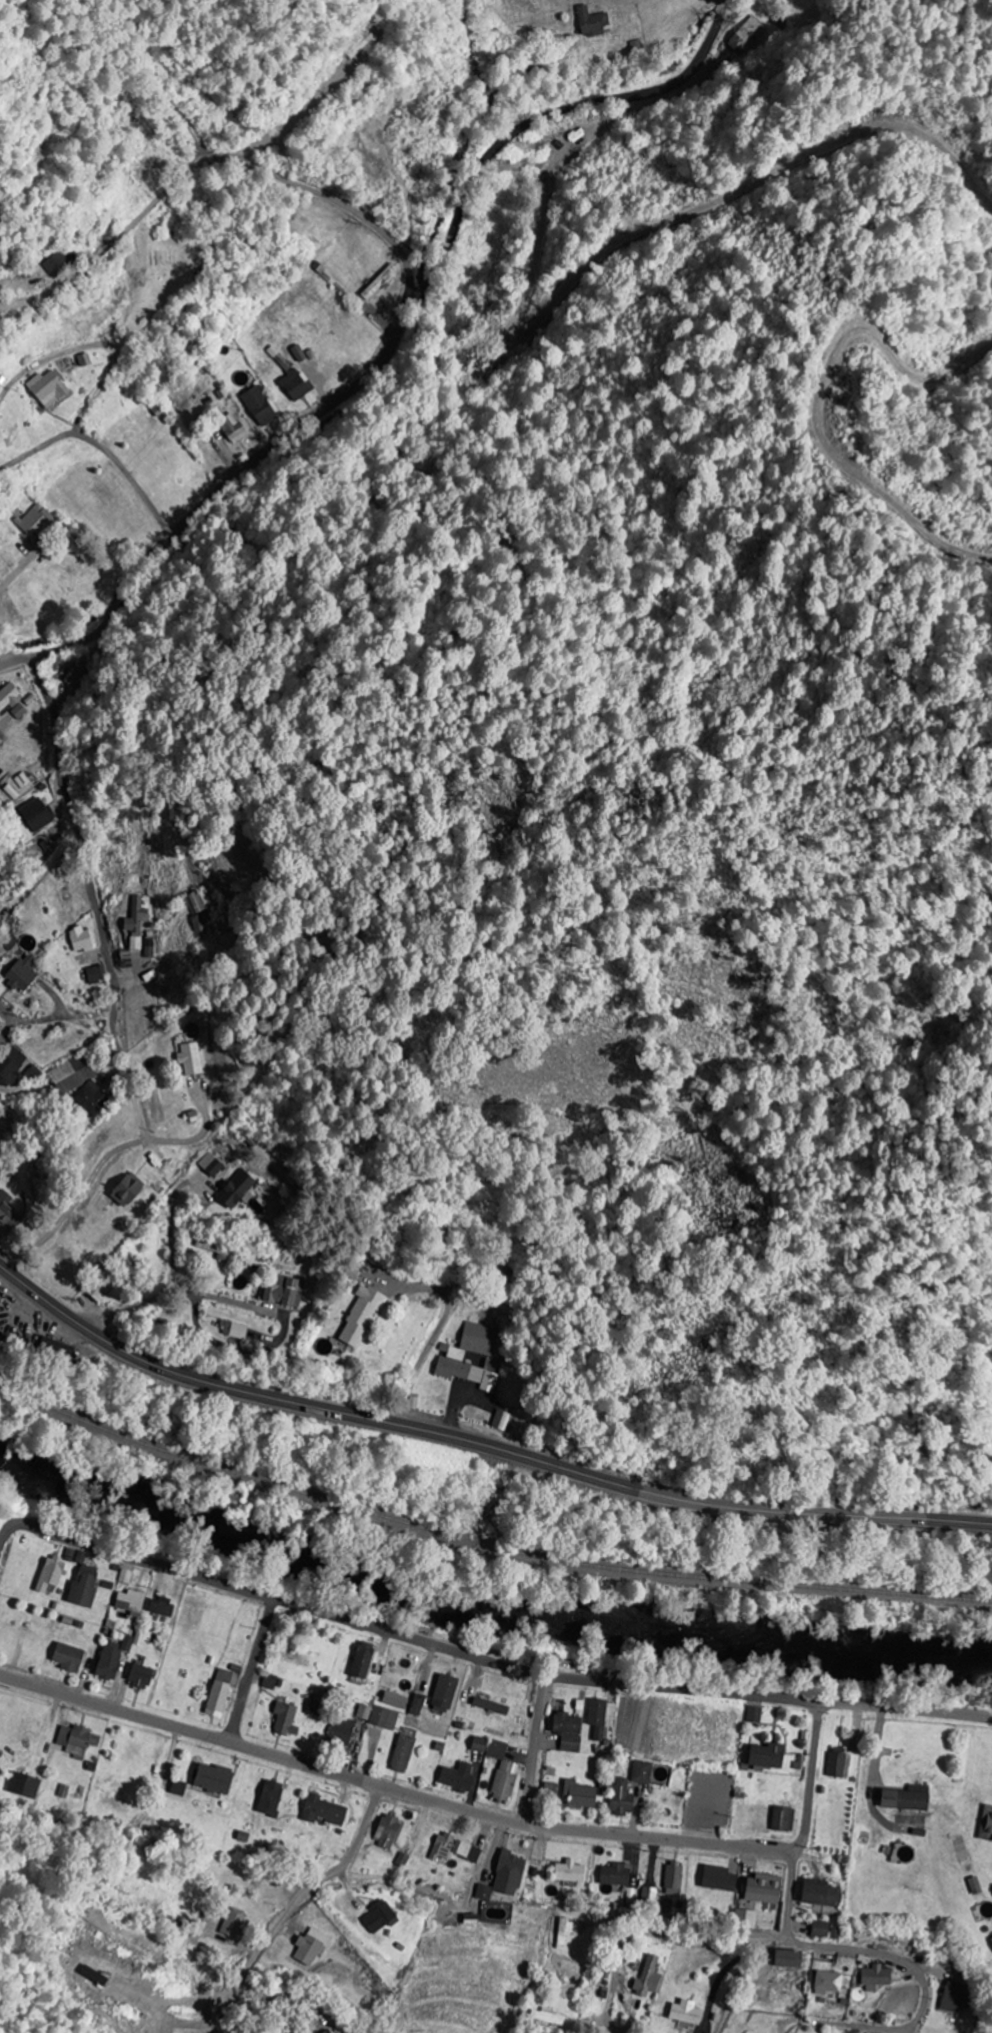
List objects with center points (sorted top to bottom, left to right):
building: (590, 21)
building: (748, 35)
building: (357, 47)
road: (545, 115)
road: (205, 164)
building: (57, 264)
building: (379, 281)
building: (294, 384)
building: (47, 388)
building: (258, 406)
building: (231, 428)
road: (215, 494)
road: (149, 506)
building: (36, 521)
road: (7, 639)
building: (78, 676)
building: (7, 696)
building: (19, 711)
building: (23, 780)
building: (37, 815)
building: (195, 902)
building: (0, 907)
building: (135, 922)
building: (198, 924)
road: (103, 933)
building: (82, 939)
building: (149, 947)
building: (20, 974)
building: (96, 974)
road: (10, 1023)
building: (188, 1059)
building: (10, 1066)
building: (32, 1074)
building: (79, 1085)
building: (0, 1170)
building: (125, 1189)
building: (236, 1190)
building: (7, 1211)
building: (217, 1249)
building: (103, 1282)
building: (282, 1292)
building: (359, 1317)
building: (233, 1330)
road: (429, 1348)
building: (51, 1352)
building: (451, 1357)
building: (500, 1420)
road: (480, 1445)
railway: (483, 1543)
building: (50, 1574)
building: (83, 1586)
building: (131, 1602)
building: (160, 1607)
river: (488, 1613)
road: (401, 1637)
building: (132, 1641)
building: (67, 1657)
building: (361, 1660)
building: (107, 1662)
road: (253, 1671)
building: (138, 1676)
building: (269, 1682)
building: (219, 1693)
building: (444, 1693)
building: (394, 1700)
building: (416, 1705)
building: (489, 1706)
road: (907, 1708)
building: (364, 1712)
building: (753, 1715)
building: (600, 1717)
building: (384, 1718)
building: (286, 1719)
building: (566, 1724)
building: (341, 1733)
building: (78, 1740)
building: (570, 1743)
building: (478, 1744)
building: (496, 1749)
road: (535, 1750)
building: (402, 1753)
building: (764, 1755)
building: (839, 1763)
building: (641, 1772)
building: (457, 1777)
building: (212, 1778)
building: (505, 1781)
road: (812, 1781)
building: (25, 1786)
building: (178, 1788)
road: (392, 1789)
building: (552, 1790)
building: (579, 1795)
building: (621, 1797)
building: (269, 1798)
building: (905, 1798)
building: (322, 1811)
building: (783, 1819)
building: (986, 1824)
building: (386, 1831)
building: (455, 1848)
building: (901, 1852)
building: (570, 1872)
building: (509, 1874)
building: (616, 1874)
building: (674, 1878)
building: (718, 1879)
building: (975, 1885)
building: (763, 1888)
building: (484, 1892)
building: (818, 1893)
building: (651, 1895)
road: (292, 1908)
building: (379, 1917)
building: (471, 1919)
building: (746, 1919)
building: (232, 1922)
building: (820, 1929)
building: (564, 1932)
road: (688, 1935)
building: (991, 1939)
building: (312, 1947)
road: (846, 1950)
building: (787, 1959)
building: (92, 1976)
building: (649, 1976)
building: (875, 1978)
building: (827, 1982)
road: (612, 1995)
building: (952, 1997)
building: (685, 2015)
building: (548, 2017)
road: (864, 2027)
building: (326, 2031)

